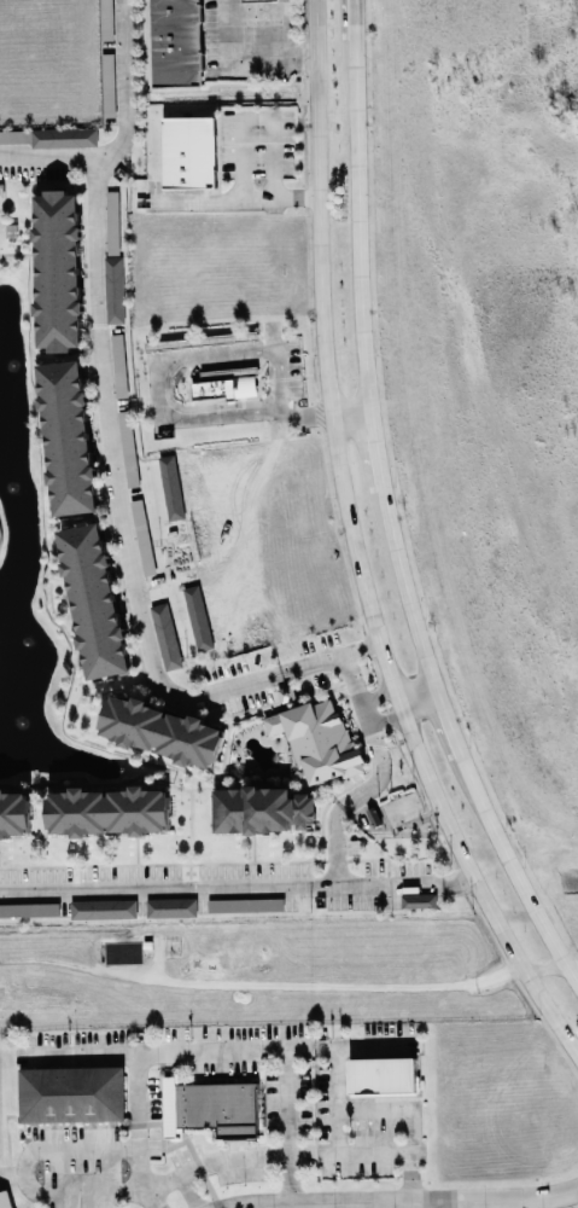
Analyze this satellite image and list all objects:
building: (258, 0)
road: (354, 11)
building: (106, 16)
building: (177, 42)
road: (249, 51)
building: (109, 85)
road: (265, 117)
road: (124, 134)
building: (14, 135)
building: (65, 137)
building: (189, 152)
road: (358, 215)
building: (113, 222)
building: (59, 271)
building: (115, 289)
road: (217, 355)
building: (119, 365)
road: (278, 378)
building: (228, 384)
road: (350, 411)
road: (193, 416)
road: (306, 416)
building: (69, 437)
building: (128, 448)
road: (375, 448)
road: (116, 486)
building: (144, 536)
road: (355, 550)
road: (405, 588)
building: (94, 600)
building: (167, 635)
road: (331, 658)
building: (286, 693)
road: (418, 695)
road: (398, 702)
road: (448, 722)
building: (159, 730)
building: (319, 738)
road: (372, 738)
building: (262, 809)
building: (109, 811)
building: (14, 812)
road: (334, 844)
road: (514, 870)
road: (235, 885)
building: (419, 900)
building: (171, 907)
building: (104, 908)
building: (29, 910)
road: (547, 969)
road: (321, 983)
road: (217, 1051)
building: (383, 1075)
building: (72, 1093)
road: (337, 1102)
building: (212, 1108)
road: (373, 1109)
road: (288, 1127)
road: (138, 1133)
road: (409, 1155)
road: (281, 1157)
road: (11, 1172)
road: (23, 1172)
road: (191, 1191)
building: (7, 1200)
road: (410, 1202)
road: (531, 1203)
road: (431, 1204)
road: (319, 1206)

